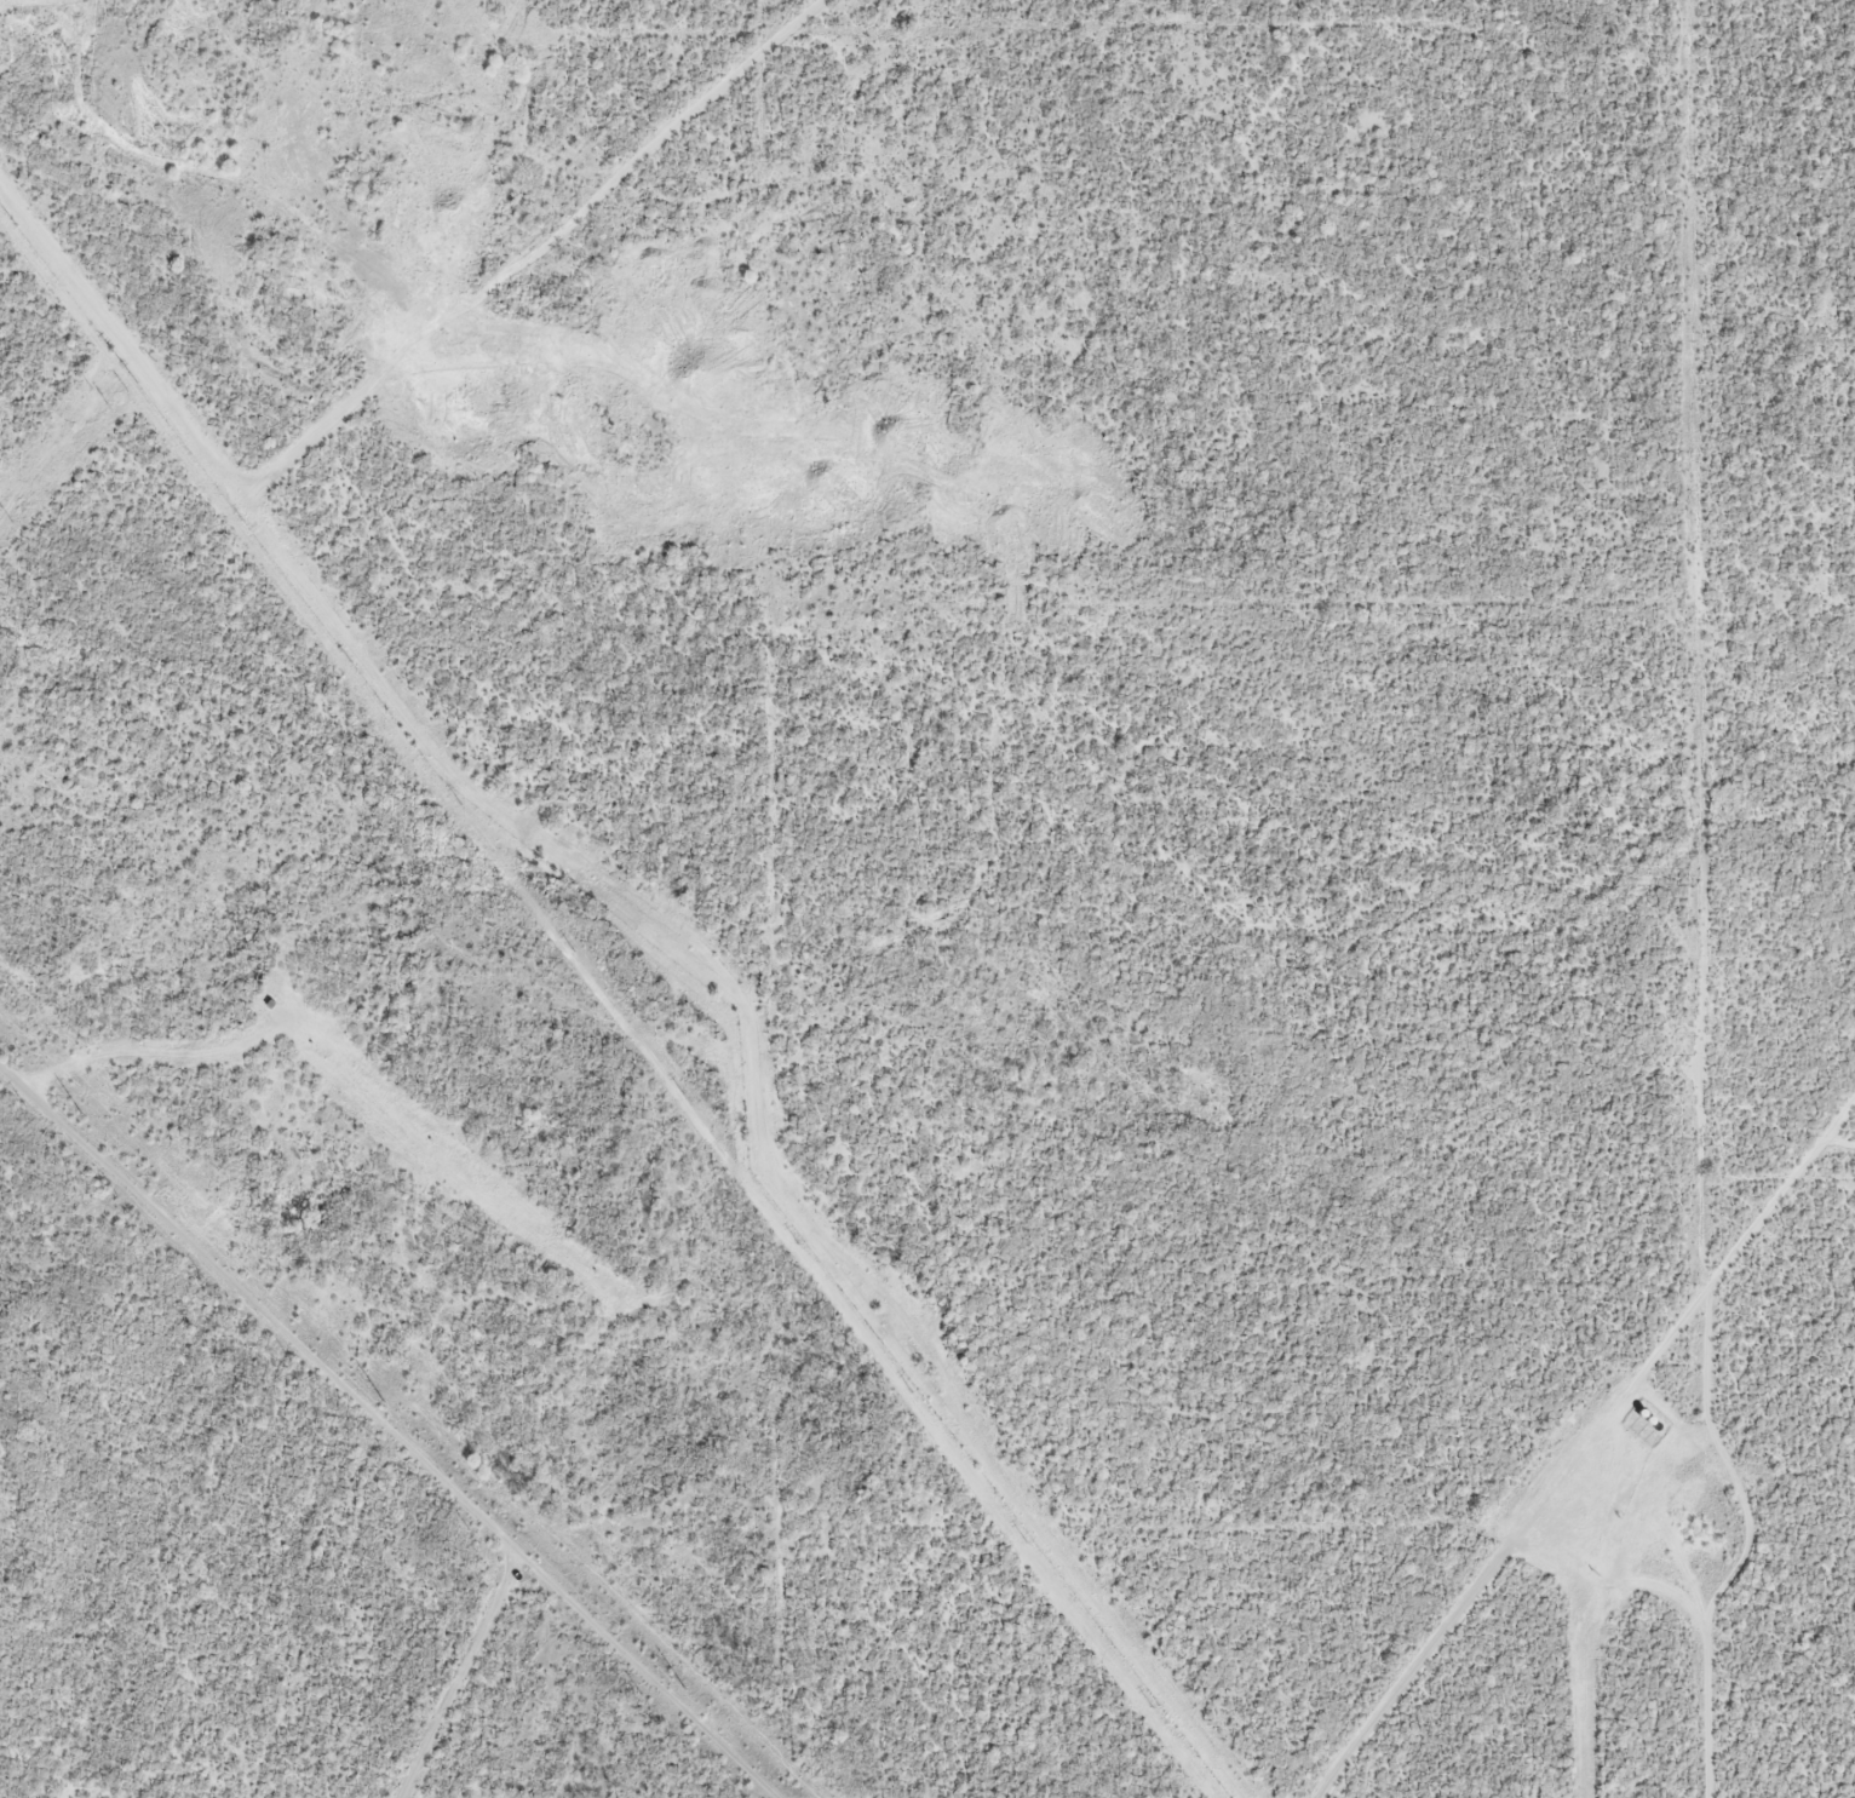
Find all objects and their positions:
power tower: (81, 1115)
power tower: (385, 1401)
power tower: (685, 1690)

